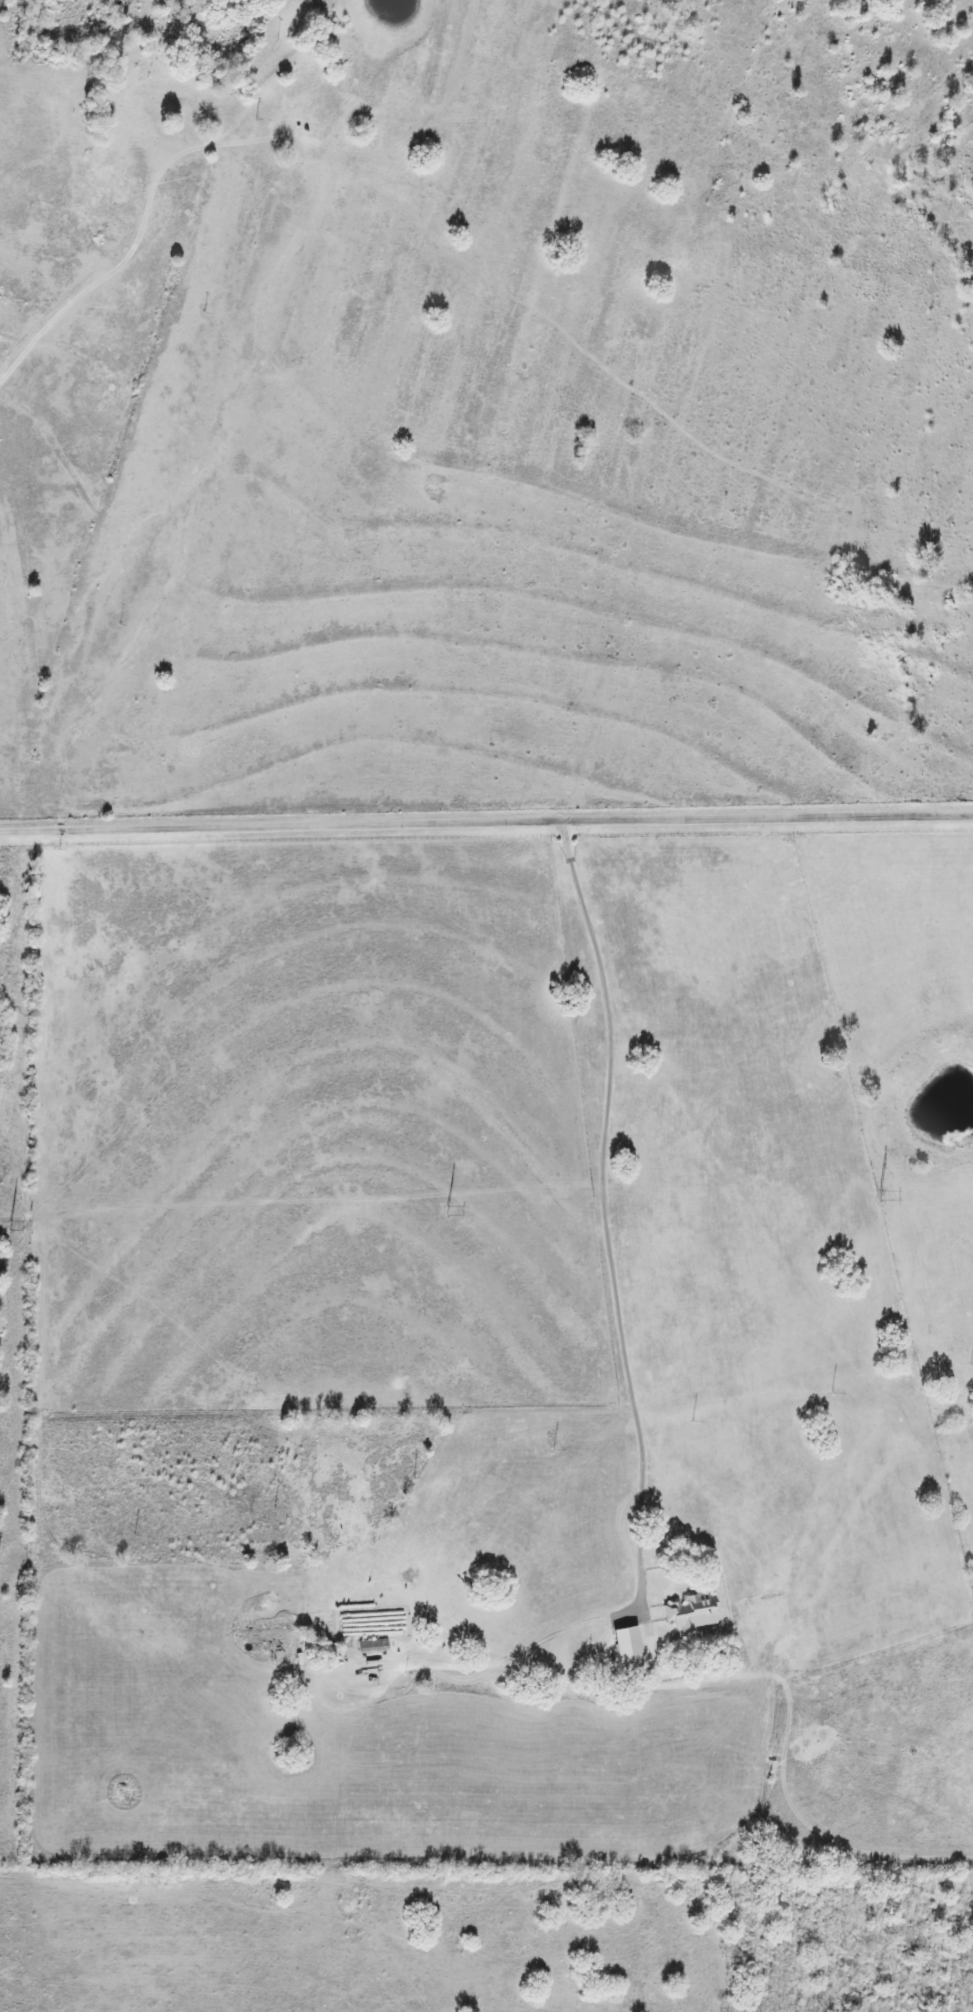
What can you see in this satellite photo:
road: (486, 818)
road: (966, 823)
power tower: (880, 1193)
power tower: (445, 1207)
power tower: (12, 1224)
building: (689, 1610)
building: (372, 1643)

